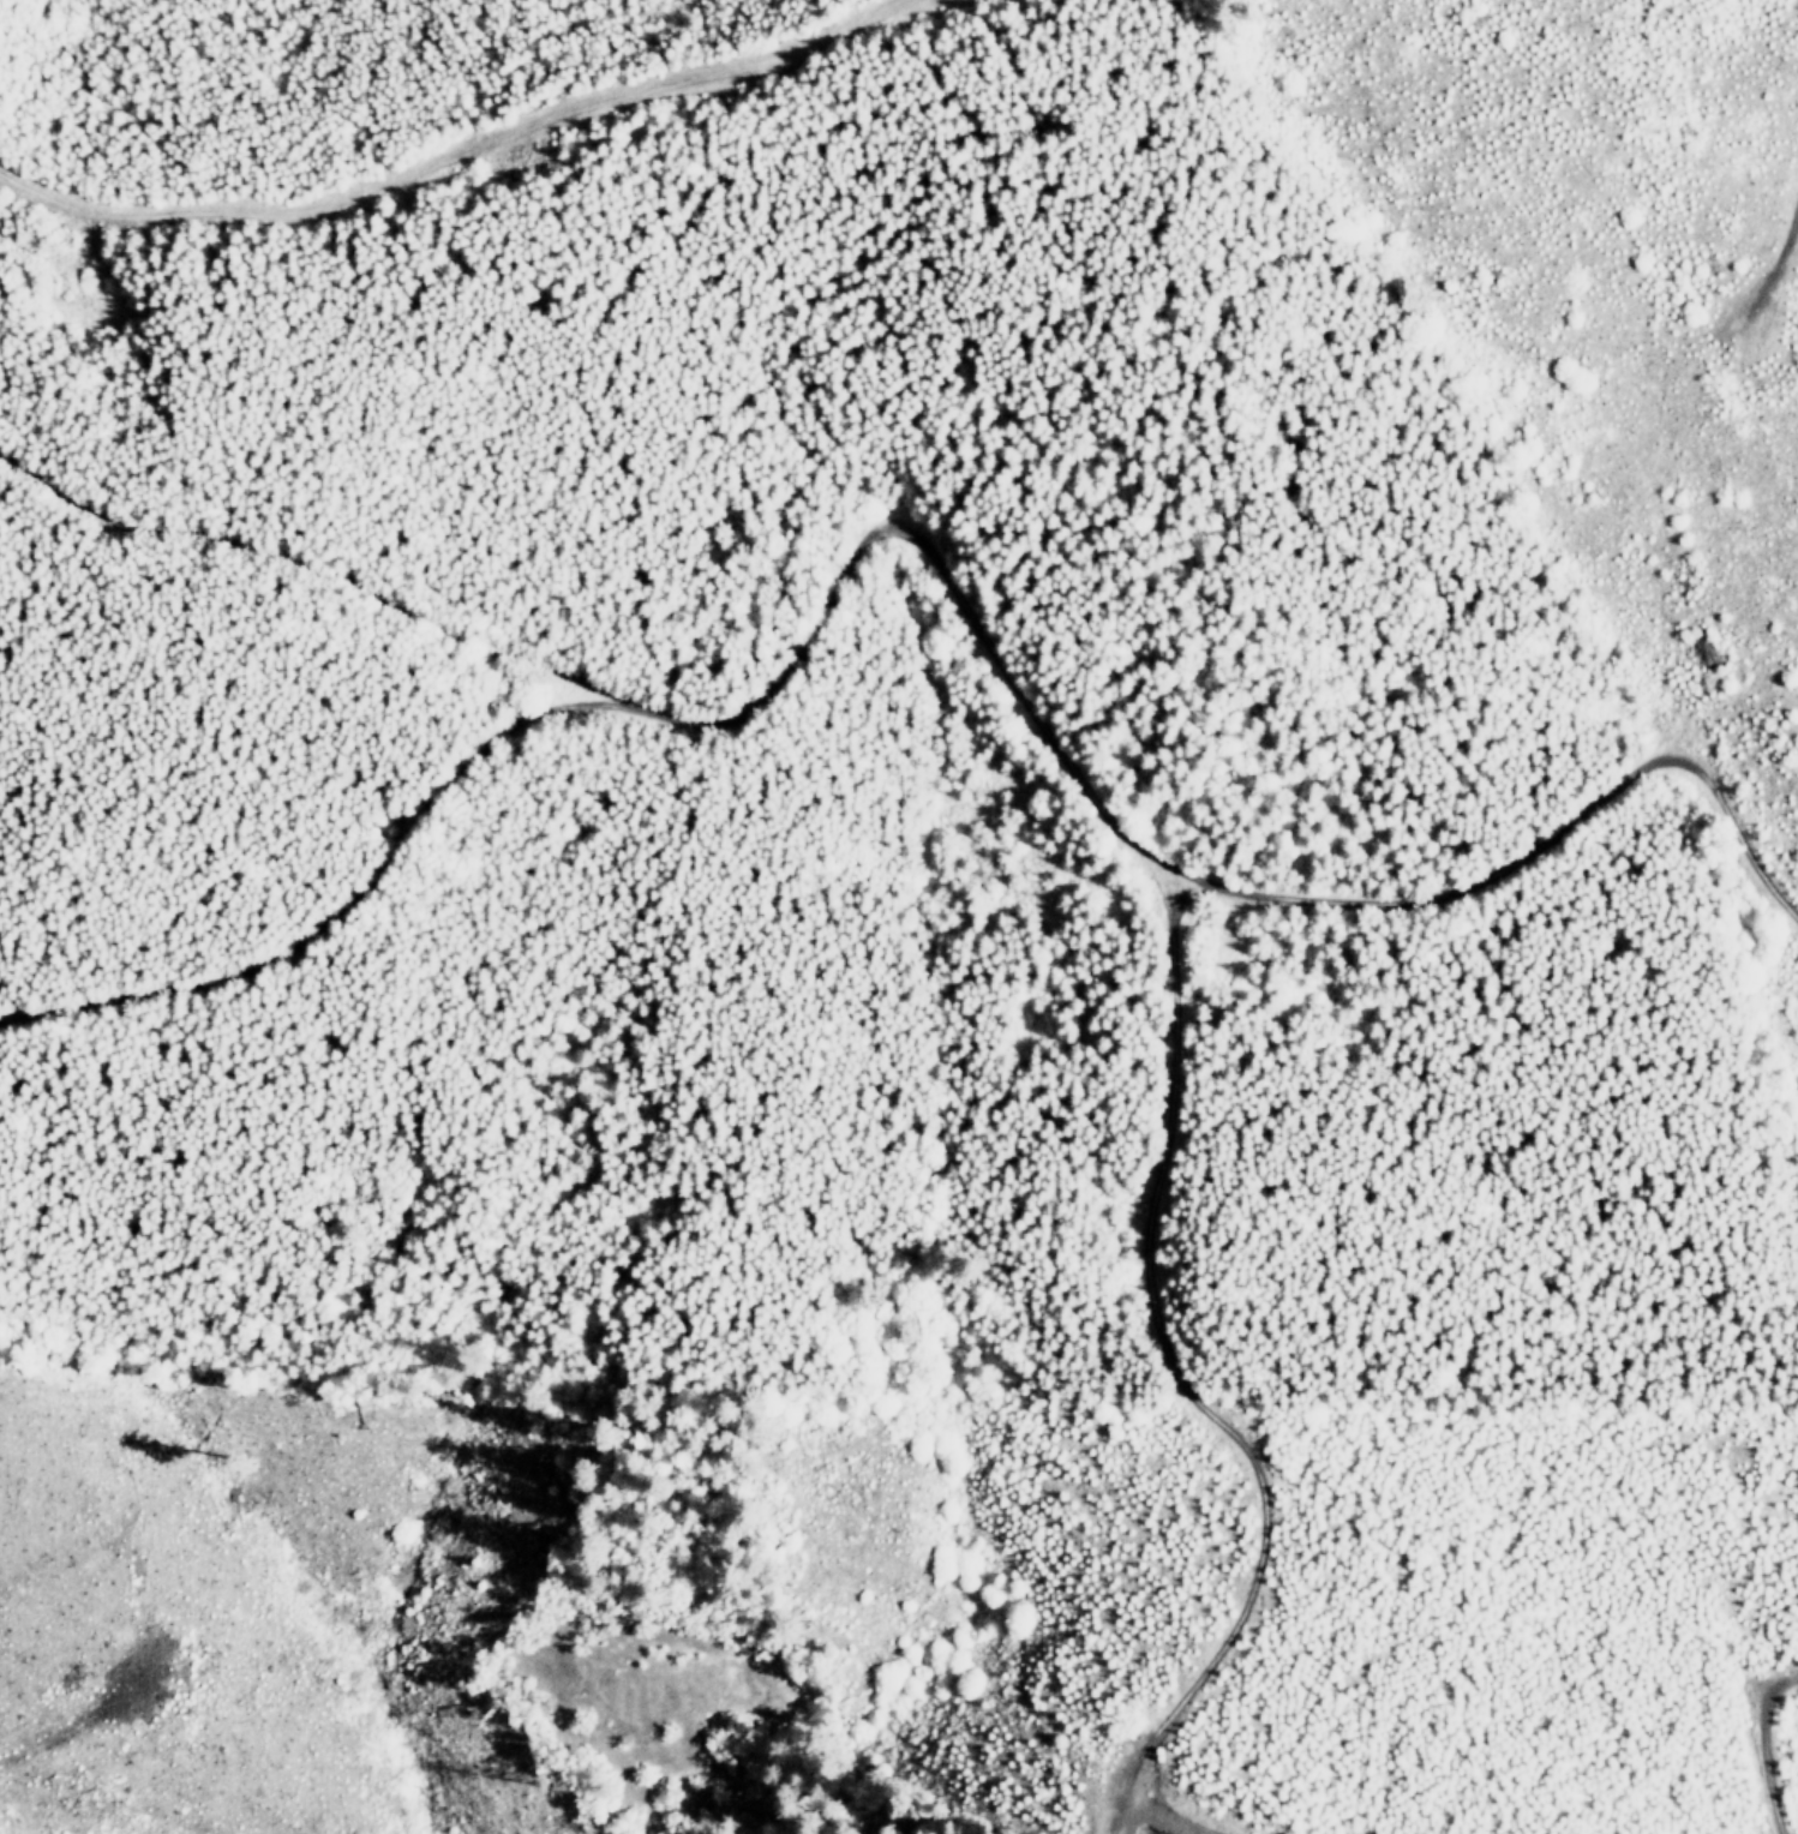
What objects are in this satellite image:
road: (743, 709)
road: (1581, 810)

